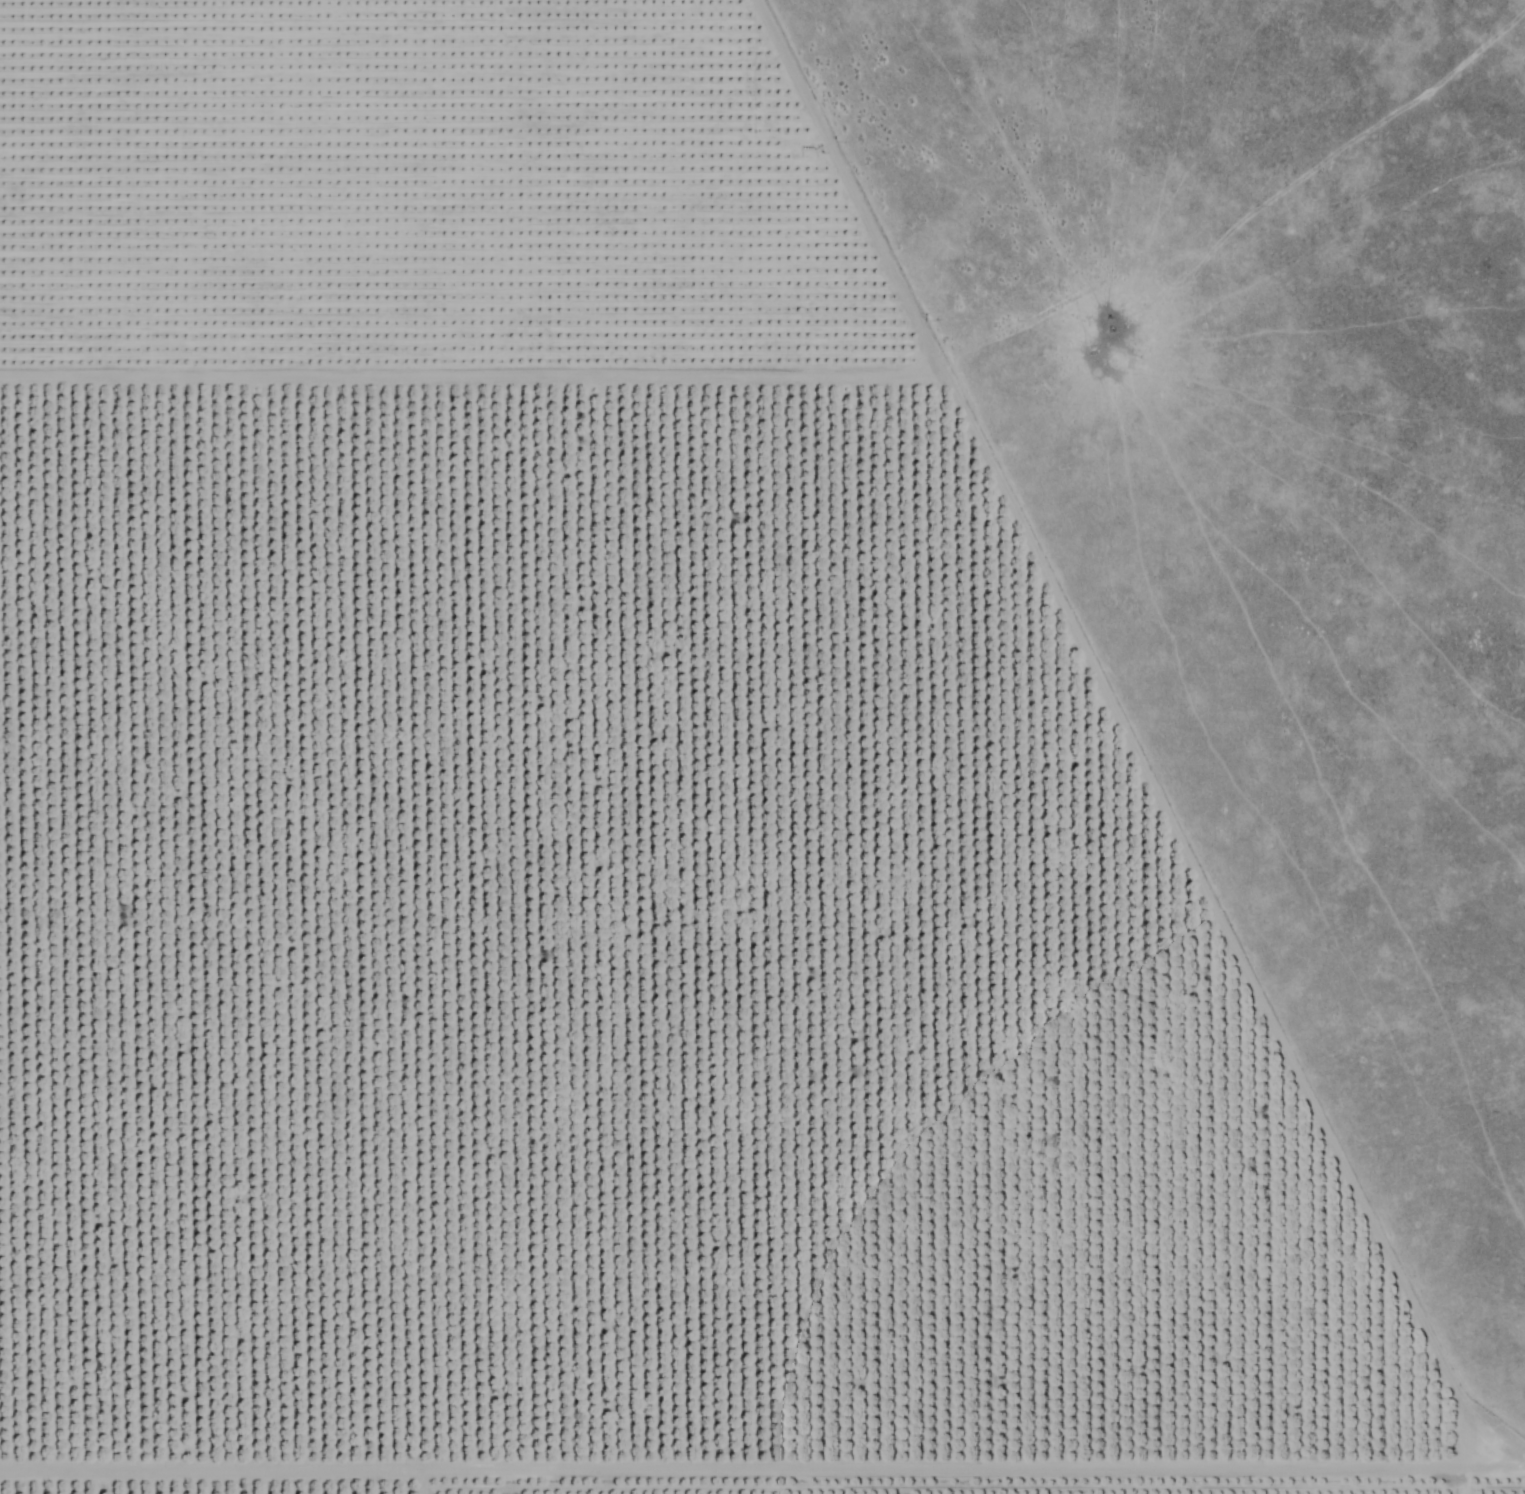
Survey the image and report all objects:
crop: (590, 829)

